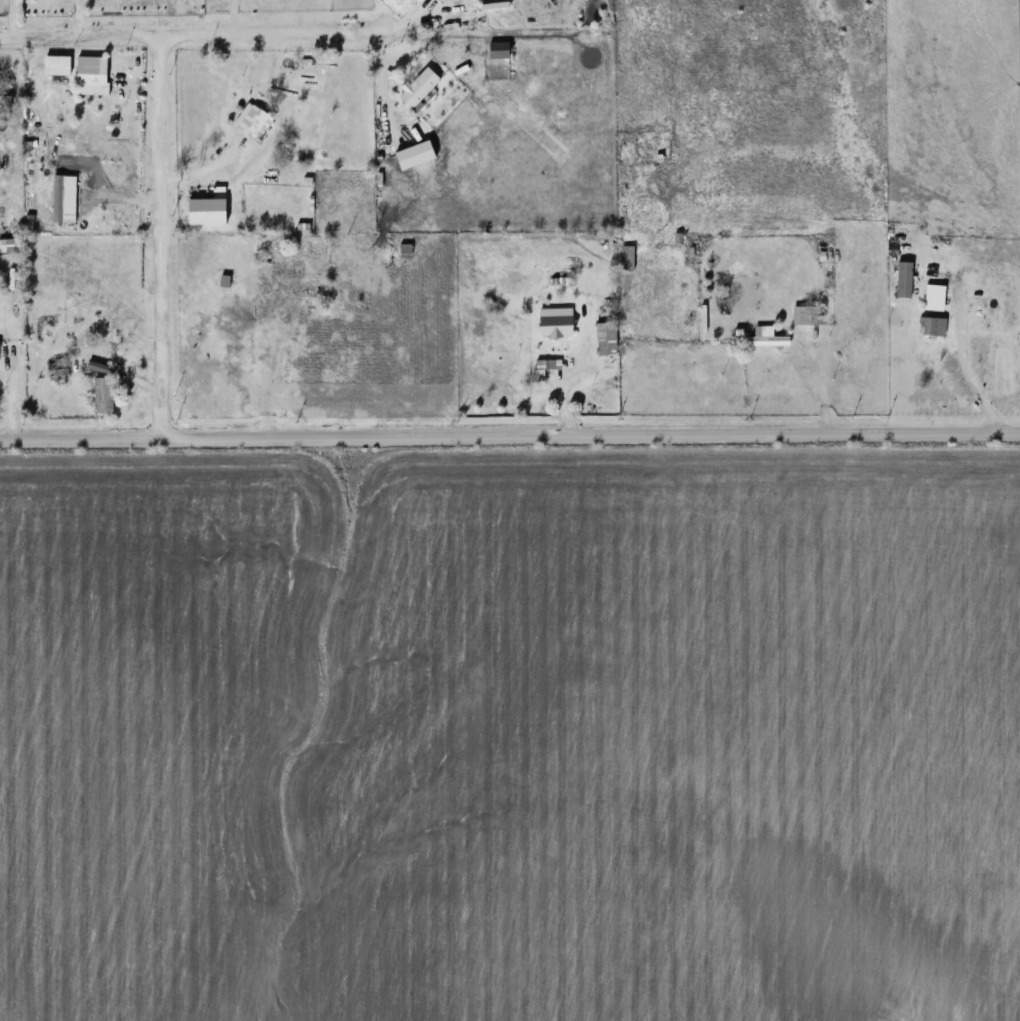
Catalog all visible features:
road: (189, 32)
road: (381, 79)
building: (93, 82)
building: (421, 89)
building: (32, 107)
building: (256, 123)
building: (382, 159)
road: (157, 235)
building: (311, 291)
building: (809, 316)
building: (559, 327)
building: (935, 328)
building: (608, 339)
building: (774, 342)
building: (59, 370)
road: (966, 381)
building: (105, 396)
road: (509, 437)

